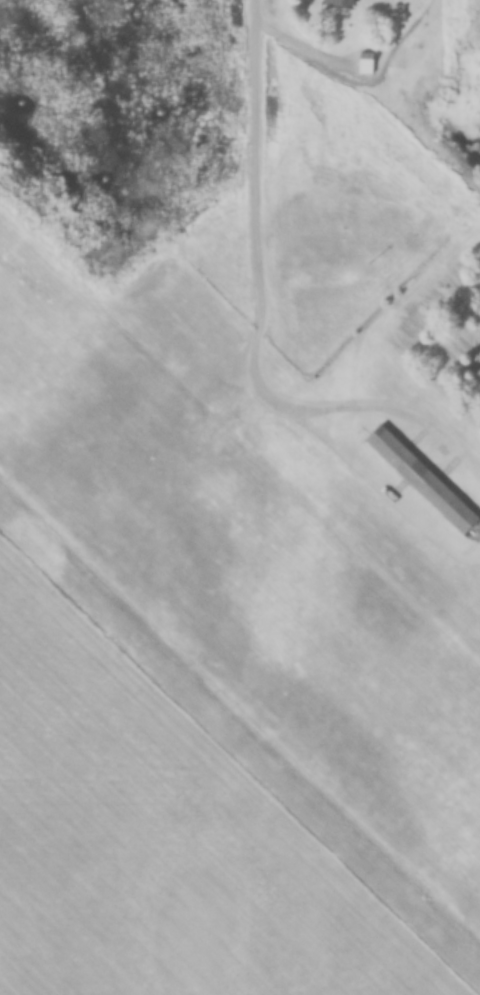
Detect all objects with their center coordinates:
building: (341, 3)
road: (251, 167)
airport: (264, 373)
building: (423, 480)
airport runway: (240, 553)

